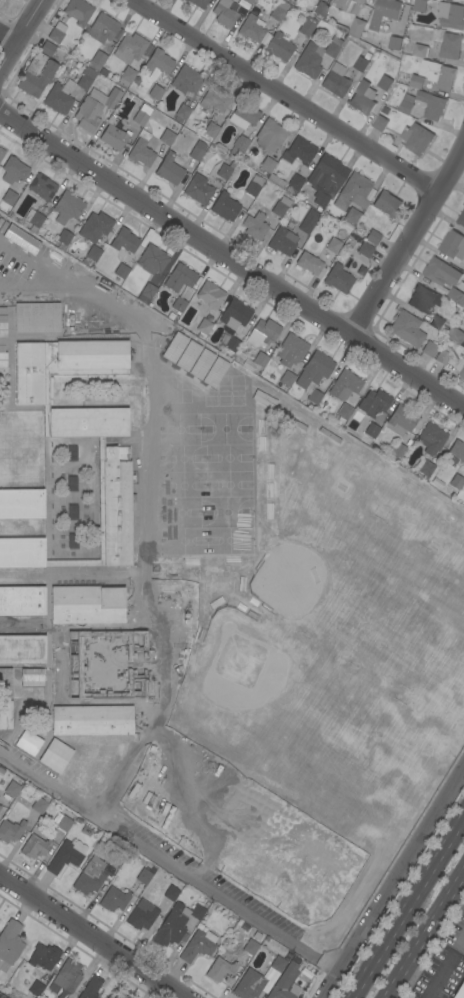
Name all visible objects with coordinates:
building: (23, 0)
building: (248, 1)
building: (326, 1)
building: (198, 3)
building: (348, 4)
building: (420, 5)
building: (241, 6)
building: (320, 9)
building: (278, 10)
building: (78, 11)
building: (225, 12)
building: (385, 12)
building: (451, 15)
building: (307, 26)
building: (102, 28)
building: (252, 28)
building: (357, 28)
building: (57, 32)
building: (338, 33)
road: (21, 34)
building: (117, 34)
road: (8, 39)
building: (395, 43)
building: (451, 46)
building: (279, 47)
building: (333, 47)
building: (47, 48)
building: (129, 48)
road: (28, 49)
building: (420, 50)
building: (98, 58)
building: (309, 61)
building: (109, 62)
building: (158, 62)
building: (361, 64)
building: (97, 69)
building: (430, 70)
building: (103, 72)
building: (36, 74)
building: (126, 76)
building: (85, 78)
building: (446, 78)
building: (186, 80)
building: (335, 80)
building: (406, 80)
building: (417, 82)
building: (385, 83)
building: (429, 84)
building: (155, 92)
road: (285, 95)
building: (59, 97)
building: (363, 98)
building: (214, 100)
building: (407, 104)
building: (432, 105)
building: (95, 108)
building: (384, 110)
building: (182, 114)
building: (141, 115)
building: (243, 115)
building: (380, 123)
building: (209, 129)
building: (113, 135)
building: (167, 136)
building: (269, 136)
building: (417, 138)
building: (238, 145)
building: (141, 151)
building: (197, 151)
building: (299, 151)
building: (2, 153)
building: (267, 164)
building: (169, 169)
building: (13, 170)
building: (225, 170)
building: (326, 179)
building: (276, 181)
building: (294, 184)
building: (254, 186)
building: (42, 187)
building: (197, 189)
building: (353, 192)
building: (9, 197)
building: (386, 203)
building: (280, 206)
building: (67, 207)
building: (224, 207)
building: (351, 215)
building: (461, 219)
building: (33, 220)
building: (308, 221)
building: (254, 223)
building: (95, 227)
building: (64, 237)
building: (372, 237)
building: (124, 241)
building: (282, 241)
road: (407, 242)
building: (333, 245)
building: (453, 245)
building: (365, 250)
building: (93, 253)
building: (152, 260)
road: (231, 260)
building: (309, 263)
building: (121, 271)
building: (463, 271)
road: (53, 272)
building: (441, 272)
building: (179, 278)
building: (338, 279)
building: (146, 293)
building: (210, 294)
building: (454, 295)
building: (424, 299)
building: (178, 305)
road: (108, 306)
building: (234, 316)
building: (36, 317)
building: (437, 323)
building: (201, 327)
building: (407, 329)
building: (262, 334)
building: (455, 335)
building: (2, 336)
building: (231, 344)
building: (429, 349)
building: (292, 350)
building: (442, 357)
building: (259, 359)
building: (460, 368)
building: (314, 369)
building: (287, 379)
building: (344, 385)
building: (314, 396)
building: (373, 403)
building: (344, 411)
building: (401, 420)
park: (224, 428)
park: (178, 429)
building: (371, 430)
building: (431, 438)
building: (398, 450)
building: (457, 450)
building: (107, 451)
building: (71, 453)
park: (181, 457)
park: (227, 457)
building: (425, 469)
building: (456, 482)
park: (227, 483)
building: (71, 484)
park: (182, 484)
building: (21, 503)
park: (225, 511)
building: (72, 512)
park: (179, 512)
park: (229, 539)
building: (71, 540)
park: (183, 540)
park: (286, 577)
building: (22, 601)
building: (87, 605)
building: (70, 644)
building: (22, 649)
park: (238, 662)
building: (67, 674)
building: (31, 677)
building: (5, 682)
park: (324, 702)
building: (153, 714)
building: (5, 715)
building: (92, 720)
building: (28, 743)
building: (56, 756)
building: (11, 788)
building: (0, 792)
building: (0, 805)
building: (39, 805)
building: (1, 811)
building: (64, 824)
building: (11, 830)
building: (35, 847)
building: (66, 856)
building: (117, 858)
road: (168, 860)
building: (90, 876)
building: (143, 876)
road: (391, 881)
building: (171, 893)
building: (113, 899)
road: (406, 905)
building: (196, 912)
building: (141, 915)
building: (170, 927)
road: (424, 934)
road: (94, 936)
building: (9, 944)
building: (198, 945)
building: (250, 947)
building: (43, 956)
building: (277, 964)
building: (220, 970)
building: (66, 978)
road: (438, 978)
building: (285, 983)
building: (248, 985)
building: (36, 988)
building: (90, 988)
building: (459, 991)
building: (120, 995)

